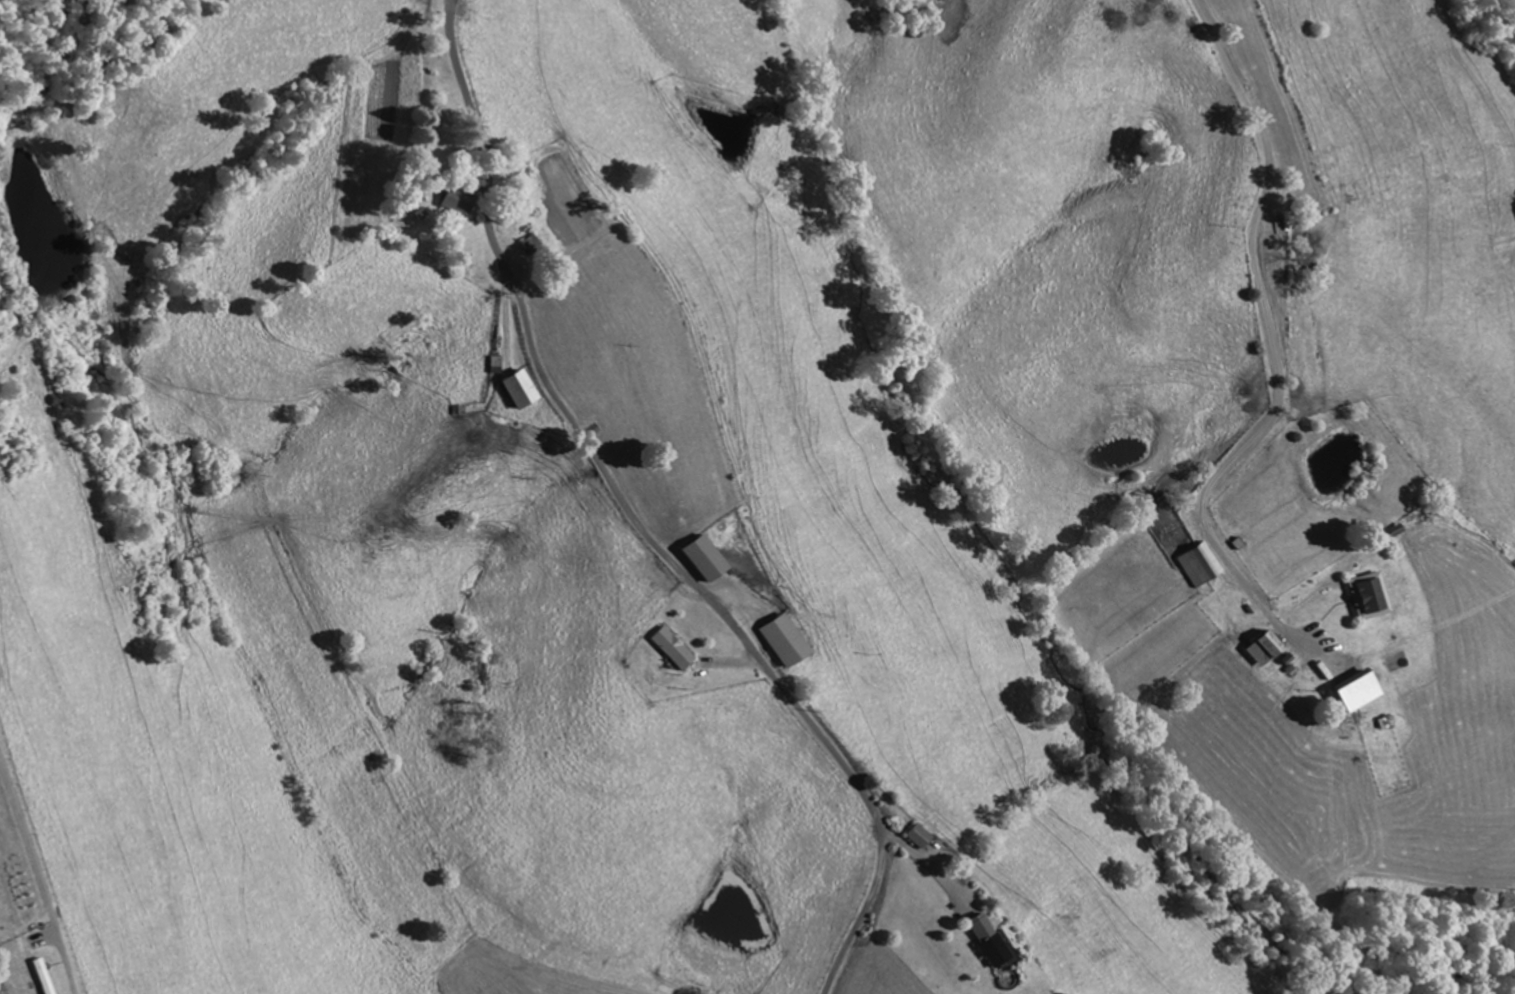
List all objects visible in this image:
building: (456, 201)
building: (531, 246)
road: (1276, 342)
building: (520, 389)
road: (640, 524)
building: (702, 559)
building: (1202, 565)
building: (1368, 596)
building: (781, 642)
building: (1266, 649)
building: (1346, 689)
building: (917, 835)
building: (990, 950)
building: (40, 976)

